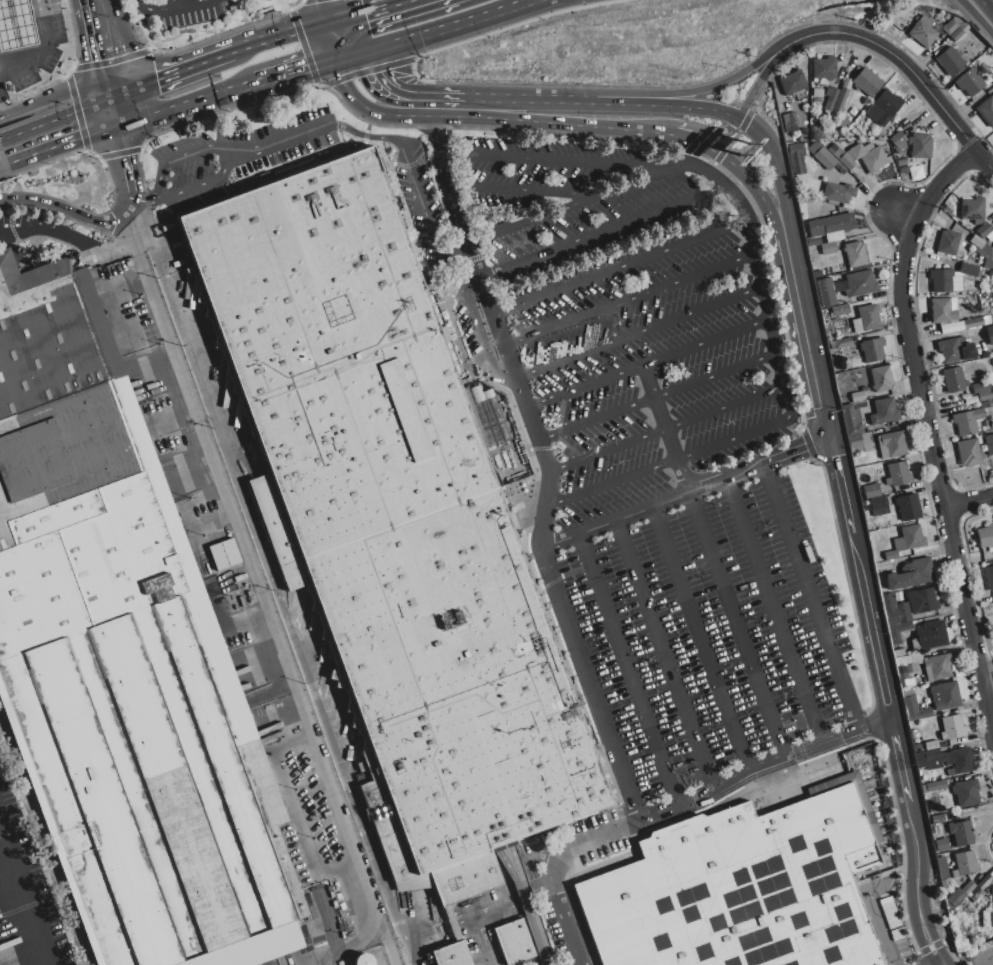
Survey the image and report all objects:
road: (2, 0)
road: (525, 2)
road: (172, 4)
road: (138, 7)
road: (175, 7)
parking lot: (181, 11)
road: (324, 12)
road: (370, 12)
traffic signals: (363, 15)
building: (947, 17)
road: (975, 18)
building: (956, 21)
road: (25, 23)
road: (8, 25)
building: (18, 25)
gas station: (18, 25)
road: (441, 25)
building: (950, 27)
building: (963, 28)
building: (924, 32)
building: (956, 35)
road: (344, 37)
road: (283, 38)
road: (329, 42)
road: (104, 47)
road: (49, 50)
road: (32, 51)
road: (14, 54)
road: (345, 54)
traffic signals: (107, 59)
road: (900, 60)
building: (949, 61)
traffic signals: (305, 65)
building: (823, 68)
road: (287, 70)
traffic signals: (378, 72)
road: (175, 73)
building: (986, 80)
traffic signals: (155, 81)
building: (839, 81)
building: (867, 82)
building: (969, 82)
building: (792, 83)
building: (846, 84)
building: (988, 86)
road: (754, 90)
road: (401, 91)
building: (817, 93)
road: (104, 94)
road: (682, 95)
building: (830, 99)
road: (45, 100)
road: (525, 100)
building: (839, 102)
road: (182, 103)
building: (887, 106)
road: (664, 107)
road: (117, 110)
road: (371, 110)
building: (986, 111)
road: (1, 114)
building: (873, 114)
road: (57, 118)
building: (789, 122)
building: (844, 125)
road: (555, 126)
road: (706, 130)
building: (812, 132)
building: (803, 133)
building: (845, 135)
road: (284, 137)
traffic signals: (80, 138)
building: (800, 140)
building: (898, 142)
road: (64, 143)
road: (703, 145)
building: (919, 146)
building: (867, 148)
building: (804, 150)
building: (834, 152)
building: (856, 152)
traffic signals: (126, 156)
road: (182, 156)
building: (849, 156)
building: (825, 159)
road: (126, 160)
building: (796, 160)
building: (873, 160)
building: (845, 162)
building: (901, 163)
road: (4, 165)
road: (778, 165)
parking lot: (202, 169)
building: (839, 169)
building: (903, 170)
building: (915, 174)
road: (411, 181)
road: (200, 183)
road: (444, 189)
road: (521, 190)
road: (64, 193)
building: (838, 193)
road: (758, 194)
road: (144, 197)
road: (130, 201)
road: (575, 201)
building: (948, 210)
building: (972, 210)
road: (905, 215)
building: (831, 225)
road: (72, 229)
road: (603, 230)
building: (983, 231)
building: (834, 236)
building: (813, 241)
building: (948, 242)
building: (976, 242)
building: (828, 248)
building: (983, 250)
building: (855, 254)
road: (620, 267)
building: (968, 270)
building: (817, 274)
road: (760, 280)
building: (941, 280)
building: (859, 284)
building: (825, 293)
road: (630, 301)
parking lot: (623, 308)
building: (840, 310)
building: (943, 310)
building: (868, 317)
building: (972, 323)
building: (857, 325)
building: (951, 327)
road: (639, 332)
road: (477, 334)
road: (805, 334)
building: (989, 335)
building: (841, 343)
building: (872, 349)
building: (955, 350)
road: (648, 364)
building: (881, 378)
building: (954, 381)
building: (980, 387)
building: (863, 389)
building: (984, 396)
building: (857, 397)
road: (659, 398)
building: (985, 404)
building: (884, 412)
building: (851, 420)
building: (966, 421)
road: (669, 428)
road: (665, 430)
road: (930, 435)
traffic signals: (827, 442)
building: (860, 443)
building: (989, 444)
building: (891, 445)
building: (969, 452)
road: (794, 454)
building: (898, 474)
road: (724, 479)
building: (871, 491)
road: (837, 495)
road: (969, 502)
building: (878, 505)
building: (908, 507)
parking lot: (204, 509)
building: (391, 509)
road: (214, 518)
road: (613, 519)
road: (542, 536)
building: (985, 536)
building: (912, 537)
road: (249, 550)
building: (223, 554)
building: (891, 555)
road: (270, 567)
building: (911, 574)
building: (989, 577)
road: (812, 598)
building: (922, 601)
building: (891, 608)
road: (776, 611)
building: (903, 613)
road: (735, 625)
parking lot: (721, 631)
building: (899, 631)
building: (932, 635)
road: (702, 637)
road: (869, 639)
road: (664, 653)
building: (899, 653)
building: (122, 657)
building: (903, 661)
building: (937, 667)
building: (910, 668)
road: (626, 669)
building: (905, 677)
road: (987, 683)
building: (907, 692)
building: (945, 696)
building: (916, 710)
building: (952, 728)
building: (930, 744)
building: (933, 759)
building: (960, 760)
road: (899, 765)
building: (935, 786)
building: (966, 793)
parking lot: (314, 805)
road: (667, 807)
road: (294, 815)
building: (956, 817)
building: (937, 819)
building: (876, 821)
building: (961, 833)
railway: (46, 837)
building: (941, 845)
building: (965, 863)
building: (954, 873)
road: (921, 883)
building: (968, 888)
building: (738, 890)
building: (992, 892)
building: (974, 893)
building: (953, 898)
road: (24, 899)
building: (988, 904)
road: (374, 905)
road: (486, 905)
building: (987, 918)
road: (439, 924)
railway: (333, 926)
road: (881, 929)
building: (512, 941)
road: (410, 951)
building: (457, 955)
building: (362, 959)
road: (992, 964)

